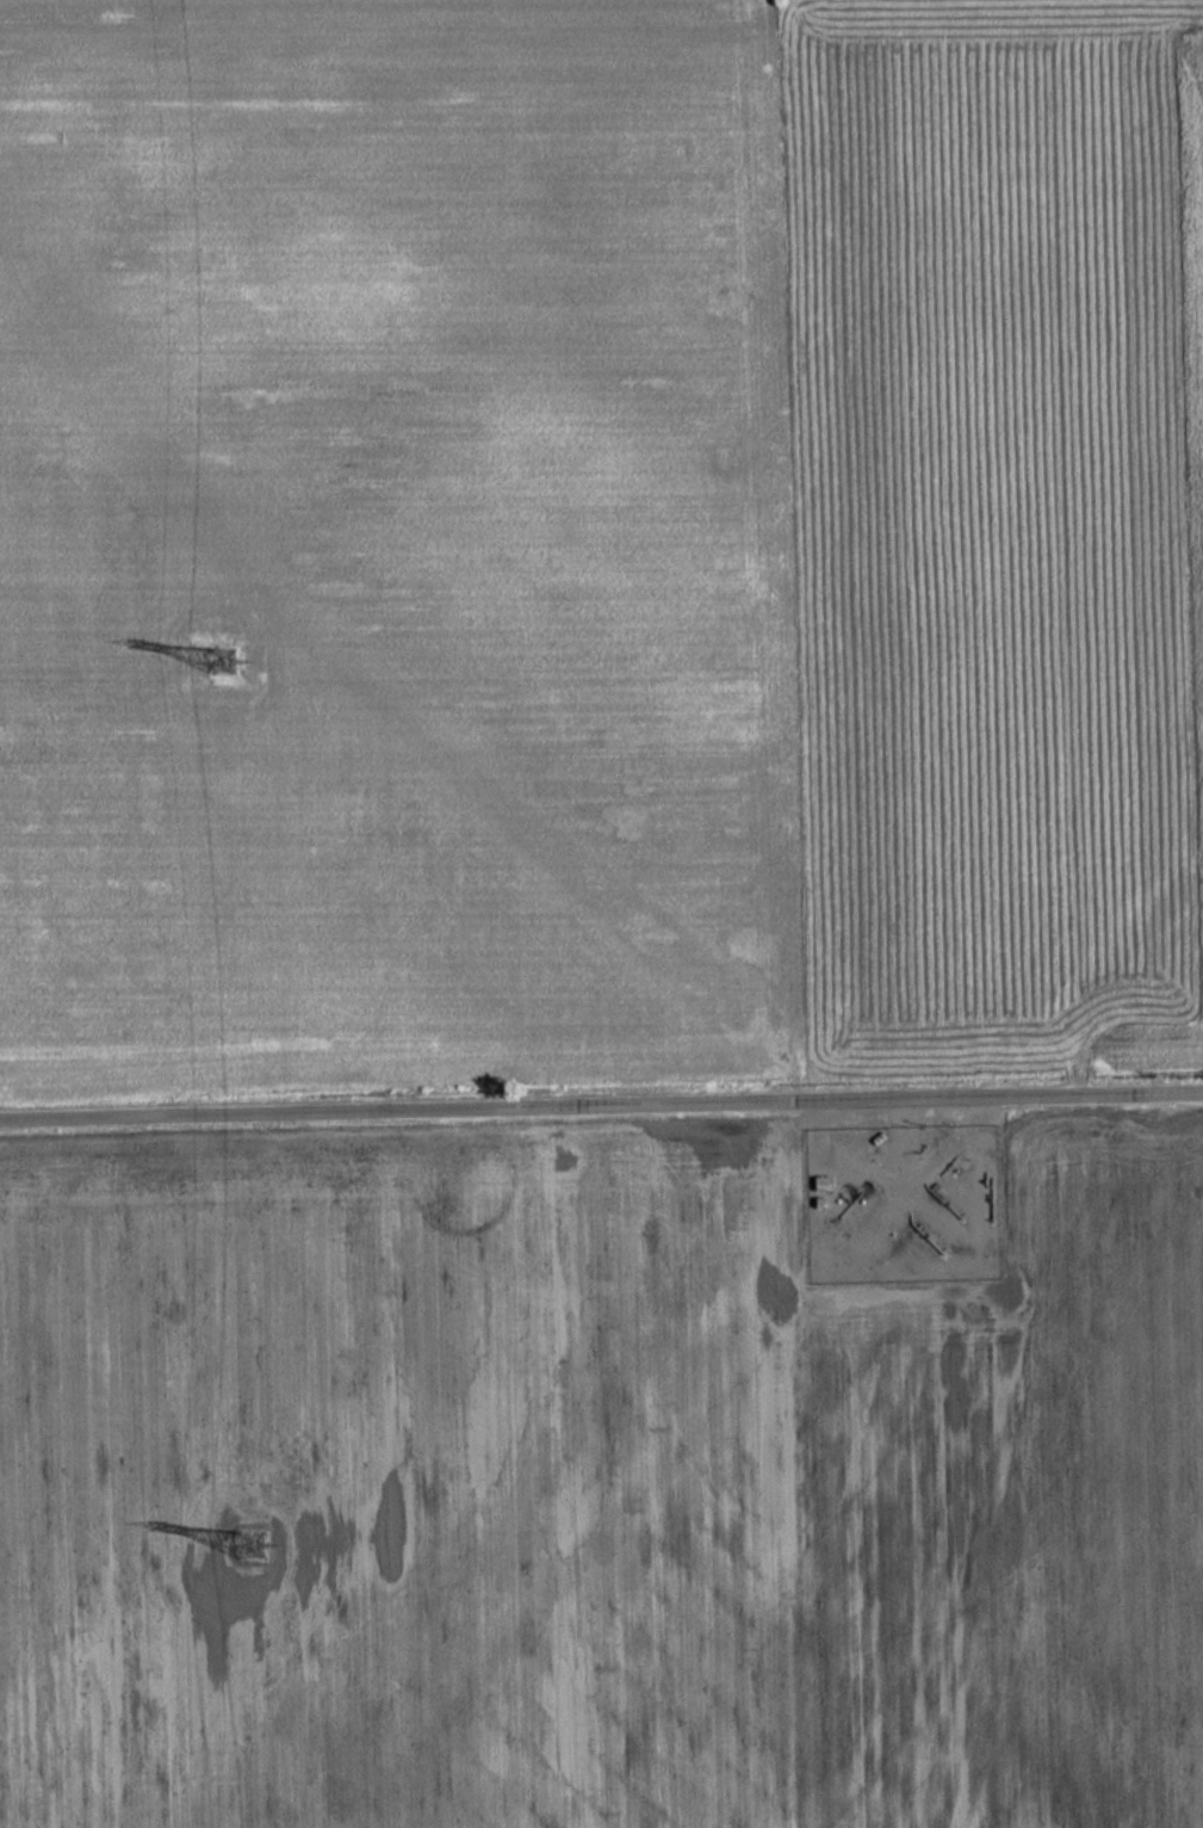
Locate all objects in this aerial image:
crop: (986, 520)
crop: (384, 538)
power tower: (219, 655)
road: (601, 1099)
crop: (594, 1490)
power tower: (246, 1550)

